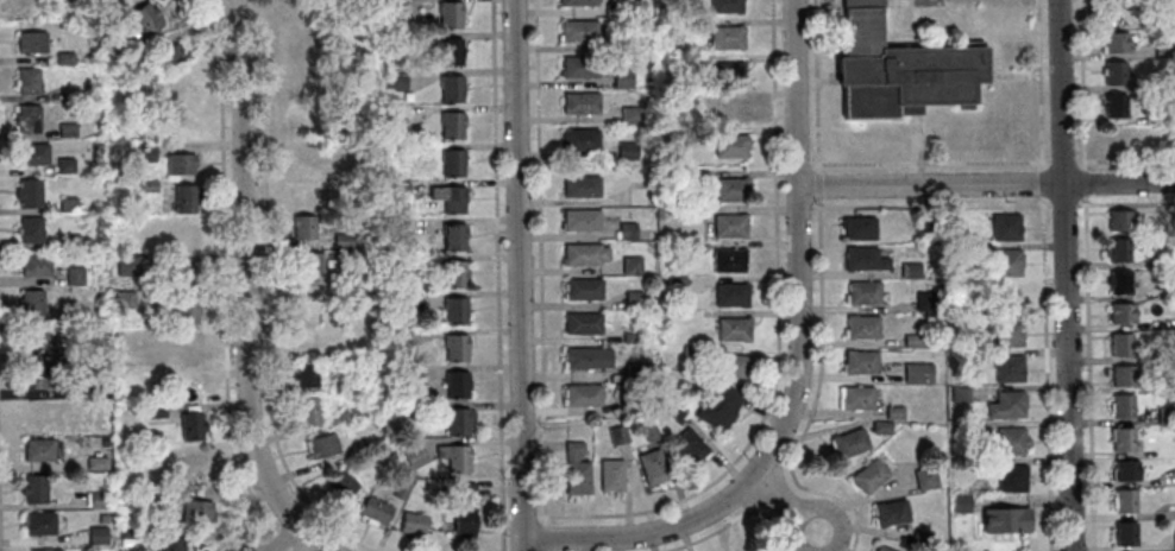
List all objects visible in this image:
building: (118, 2)
building: (579, 5)
building: (290, 8)
building: (728, 8)
building: (395, 9)
building: (616, 13)
building: (450, 14)
building: (1114, 15)
building: (147, 18)
building: (1165, 20)
building: (580, 36)
building: (32, 40)
building: (297, 40)
building: (729, 42)
building: (394, 43)
building: (1118, 46)
building: (624, 47)
building: (451, 51)
building: (1165, 51)
building: (168, 55)
building: (67, 58)
building: (903, 71)
building: (582, 72)
building: (302, 77)
building: (729, 78)
building: (1117, 78)
building: (29, 81)
building: (624, 81)
building: (1161, 81)
building: (396, 82)
building: (452, 88)
building: (338, 89)
building: (69, 93)
building: (180, 93)
road: (793, 93)
building: (583, 108)
building: (730, 108)
building: (1118, 112)
building: (306, 116)
building: (29, 118)
building: (633, 118)
building: (395, 119)
building: (1163, 120)
building: (452, 125)
building: (182, 127)
building: (68, 131)
building: (580, 139)
building: (672, 139)
building: (1118, 140)
building: (733, 150)
building: (147, 152)
building: (629, 152)
building: (303, 153)
building: (34, 154)
building: (181, 163)
building: (454, 163)
building: (67, 166)
building: (690, 179)
road: (1120, 183)
building: (146, 185)
building: (583, 185)
road: (930, 185)
building: (733, 189)
building: (302, 191)
building: (400, 191)
building: (30, 194)
building: (639, 196)
building: (187, 197)
building: (450, 198)
building: (69, 205)
building: (696, 214)
building: (582, 218)
building: (1121, 220)
building: (731, 226)
building: (306, 227)
building: (398, 227)
building: (926, 227)
building: (1006, 227)
building: (861, 228)
building: (32, 230)
building: (628, 232)
building: (184, 235)
building: (454, 237)
building: (345, 241)
building: (70, 242)
building: (683, 251)
building: (1119, 251)
building: (585, 253)
building: (973, 253)
building: (866, 259)
building: (1168, 259)
building: (730, 260)
road: (540, 261)
building: (308, 262)
building: (1009, 262)
building: (37, 265)
building: (400, 265)
building: (633, 265)
building: (128, 266)
road: (243, 266)
building: (912, 271)
building: (454, 273)
building: (183, 274)
building: (347, 275)
road: (519, 275)
road: (1068, 275)
building: (75, 277)
building: (1120, 283)
building: (678, 285)
building: (585, 289)
building: (865, 292)
building: (733, 294)
building: (128, 300)
building: (307, 300)
building: (635, 300)
building: (411, 302)
building: (926, 302)
building: (32, 304)
building: (188, 309)
building: (455, 310)
building: (1123, 313)
building: (583, 323)
building: (863, 327)
building: (735, 329)
building: (1010, 334)
building: (102, 335)
building: (634, 337)
building: (401, 338)
building: (37, 340)
building: (308, 341)
building: (915, 341)
building: (1123, 346)
building: (457, 347)
building: (186, 349)
building: (1170, 349)
building: (653, 350)
building: (693, 354)
building: (589, 357)
building: (862, 362)
building: (733, 365)
building: (1010, 368)
building: (98, 370)
building: (640, 372)
building: (918, 373)
building: (307, 374)
building: (45, 375)
building: (413, 375)
building: (1124, 376)
building: (457, 385)
building: (1170, 385)
building: (343, 386)
building: (189, 387)
building: (961, 394)
building: (584, 395)
building: (857, 398)
building: (630, 403)
building: (1009, 405)
building: (720, 406)
building: (1124, 406)
building: (413, 410)
building: (156, 411)
building: (309, 412)
building: (36, 413)
building: (676, 413)
building: (896, 413)
building: (1167, 416)
building: (348, 417)
building: (461, 422)
building: (379, 423)
building: (193, 425)
building: (882, 427)
building: (966, 427)
building: (649, 431)
building: (618, 435)
building: (1125, 439)
building: (1012, 442)
building: (105, 443)
building: (850, 443)
building: (323, 445)
building: (690, 445)
building: (39, 450)
road: (766, 454)
building: (416, 457)
building: (455, 457)
building: (98, 463)
building: (653, 467)
building: (196, 468)
building: (578, 470)
building: (1127, 470)
building: (611, 475)
building: (871, 475)
building: (926, 479)
building: (1012, 479)
building: (344, 483)
building: (36, 488)
building: (402, 490)
building: (465, 492)
building: (169, 496)
building: (100, 500)
building: (1126, 501)
building: (962, 503)
road: (785, 505)
building: (197, 509)
building: (377, 511)
building: (892, 512)
building: (1006, 519)
building: (103, 520)
building: (465, 521)
building: (40, 524)
building: (414, 524)
building: (132, 533)
building: (1127, 533)
building: (99, 536)
road: (545, 537)
road: (284, 538)
building: (922, 538)
road: (312, 539)
building: (172, 544)
building: (749, 547)
building: (882, 547)
building: (46, 550)

